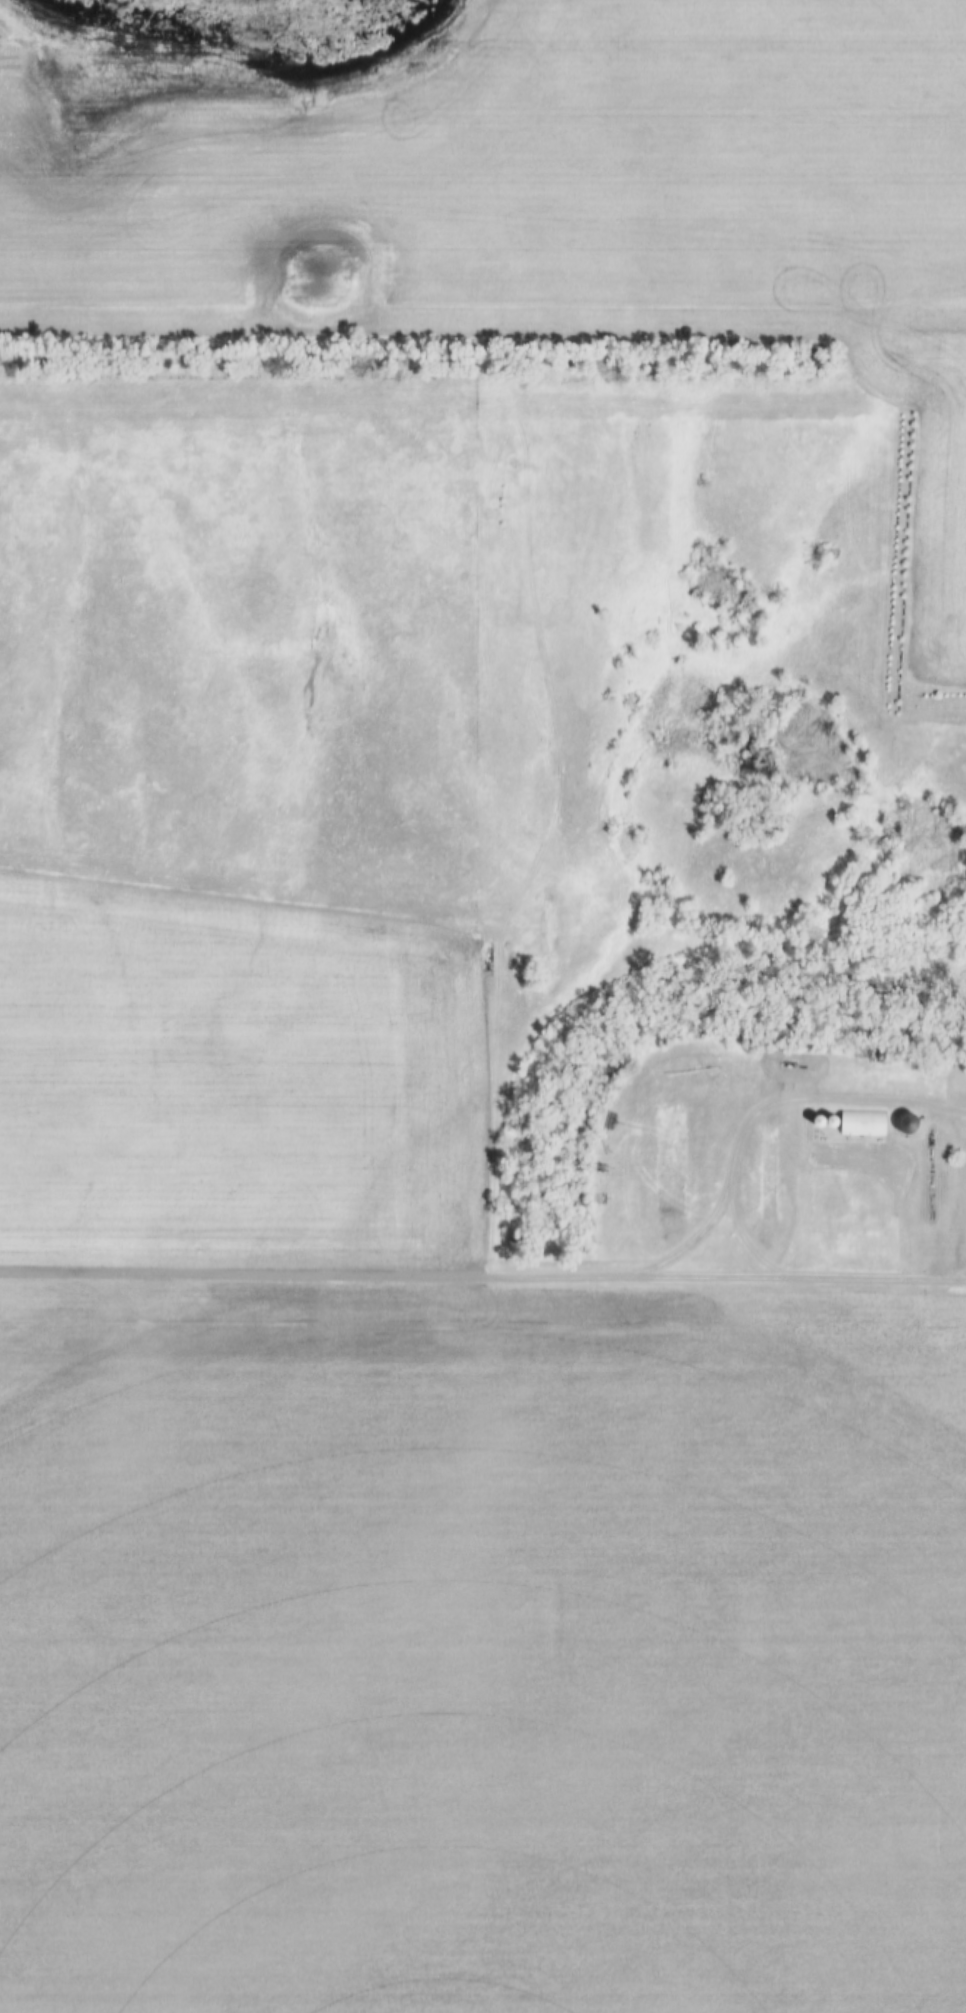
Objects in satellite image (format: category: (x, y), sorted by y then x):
road: (754, 1111)
building: (911, 1123)
road: (317, 1275)
road: (801, 1277)

